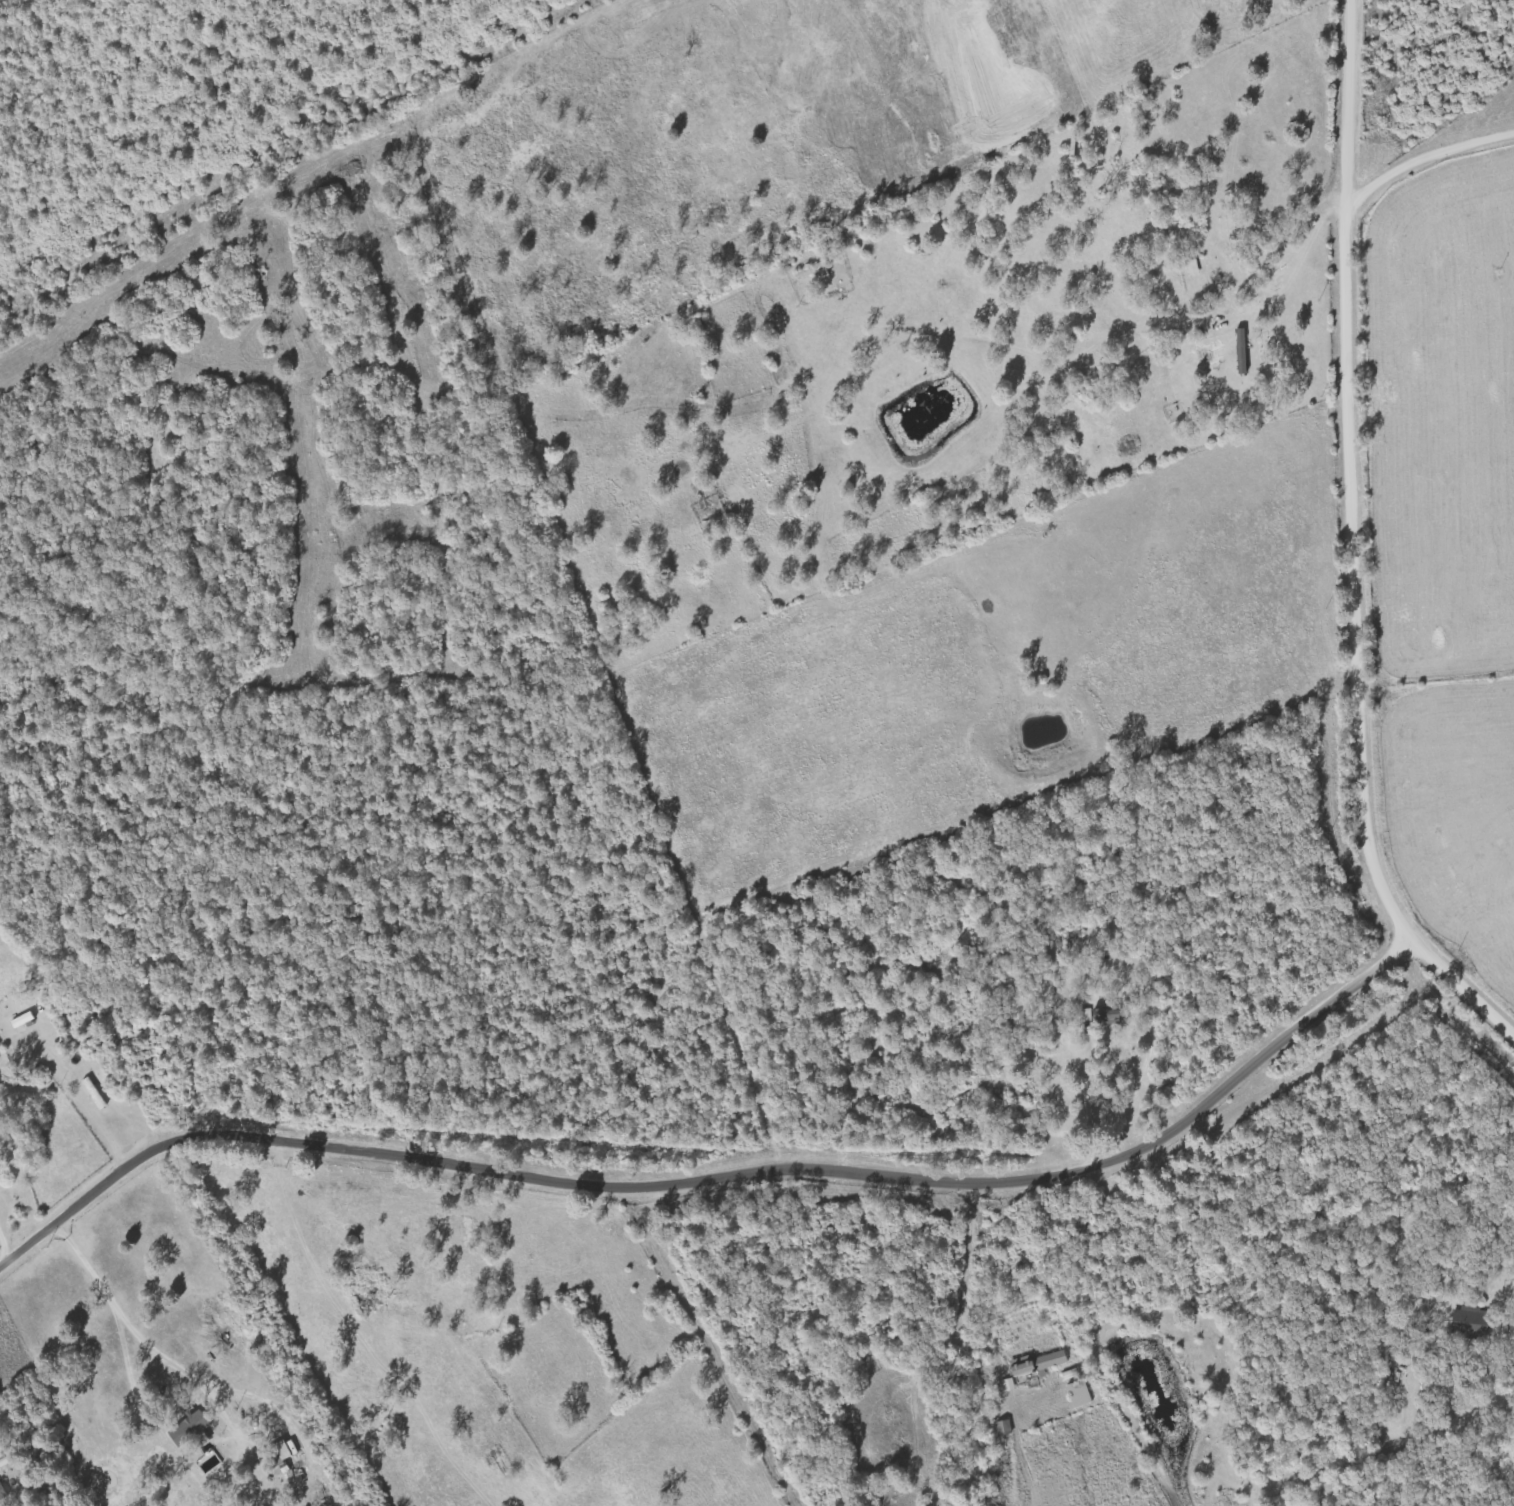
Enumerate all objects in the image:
road: (1071, 179)
building: (816, 273)
building: (1244, 352)
road: (1358, 470)
road: (1459, 985)
building: (1103, 1014)
building: (24, 1021)
building: (95, 1094)
road: (725, 1182)
building: (1472, 1323)
building: (1041, 1364)
building: (1010, 1386)
building: (1082, 1394)
building: (192, 1429)
building: (279, 1455)
building: (3, 1493)

